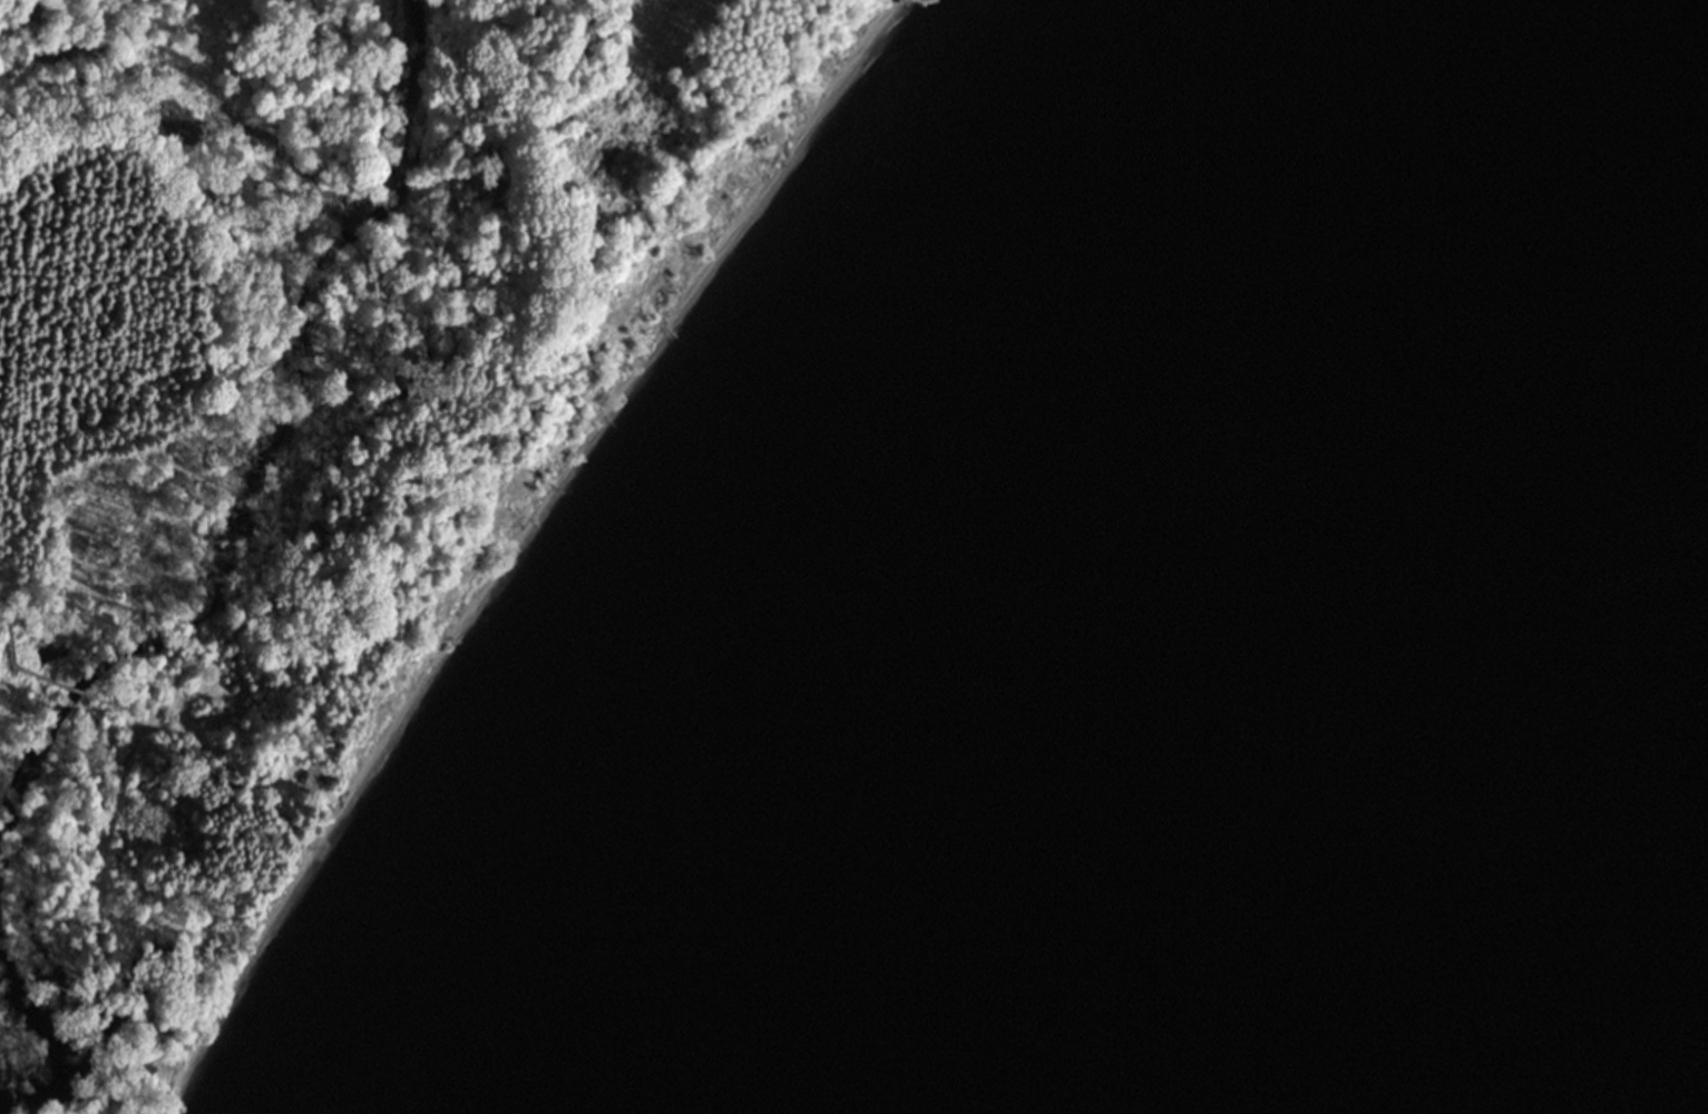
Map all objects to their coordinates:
building: (1, 574)
road: (36, 676)

